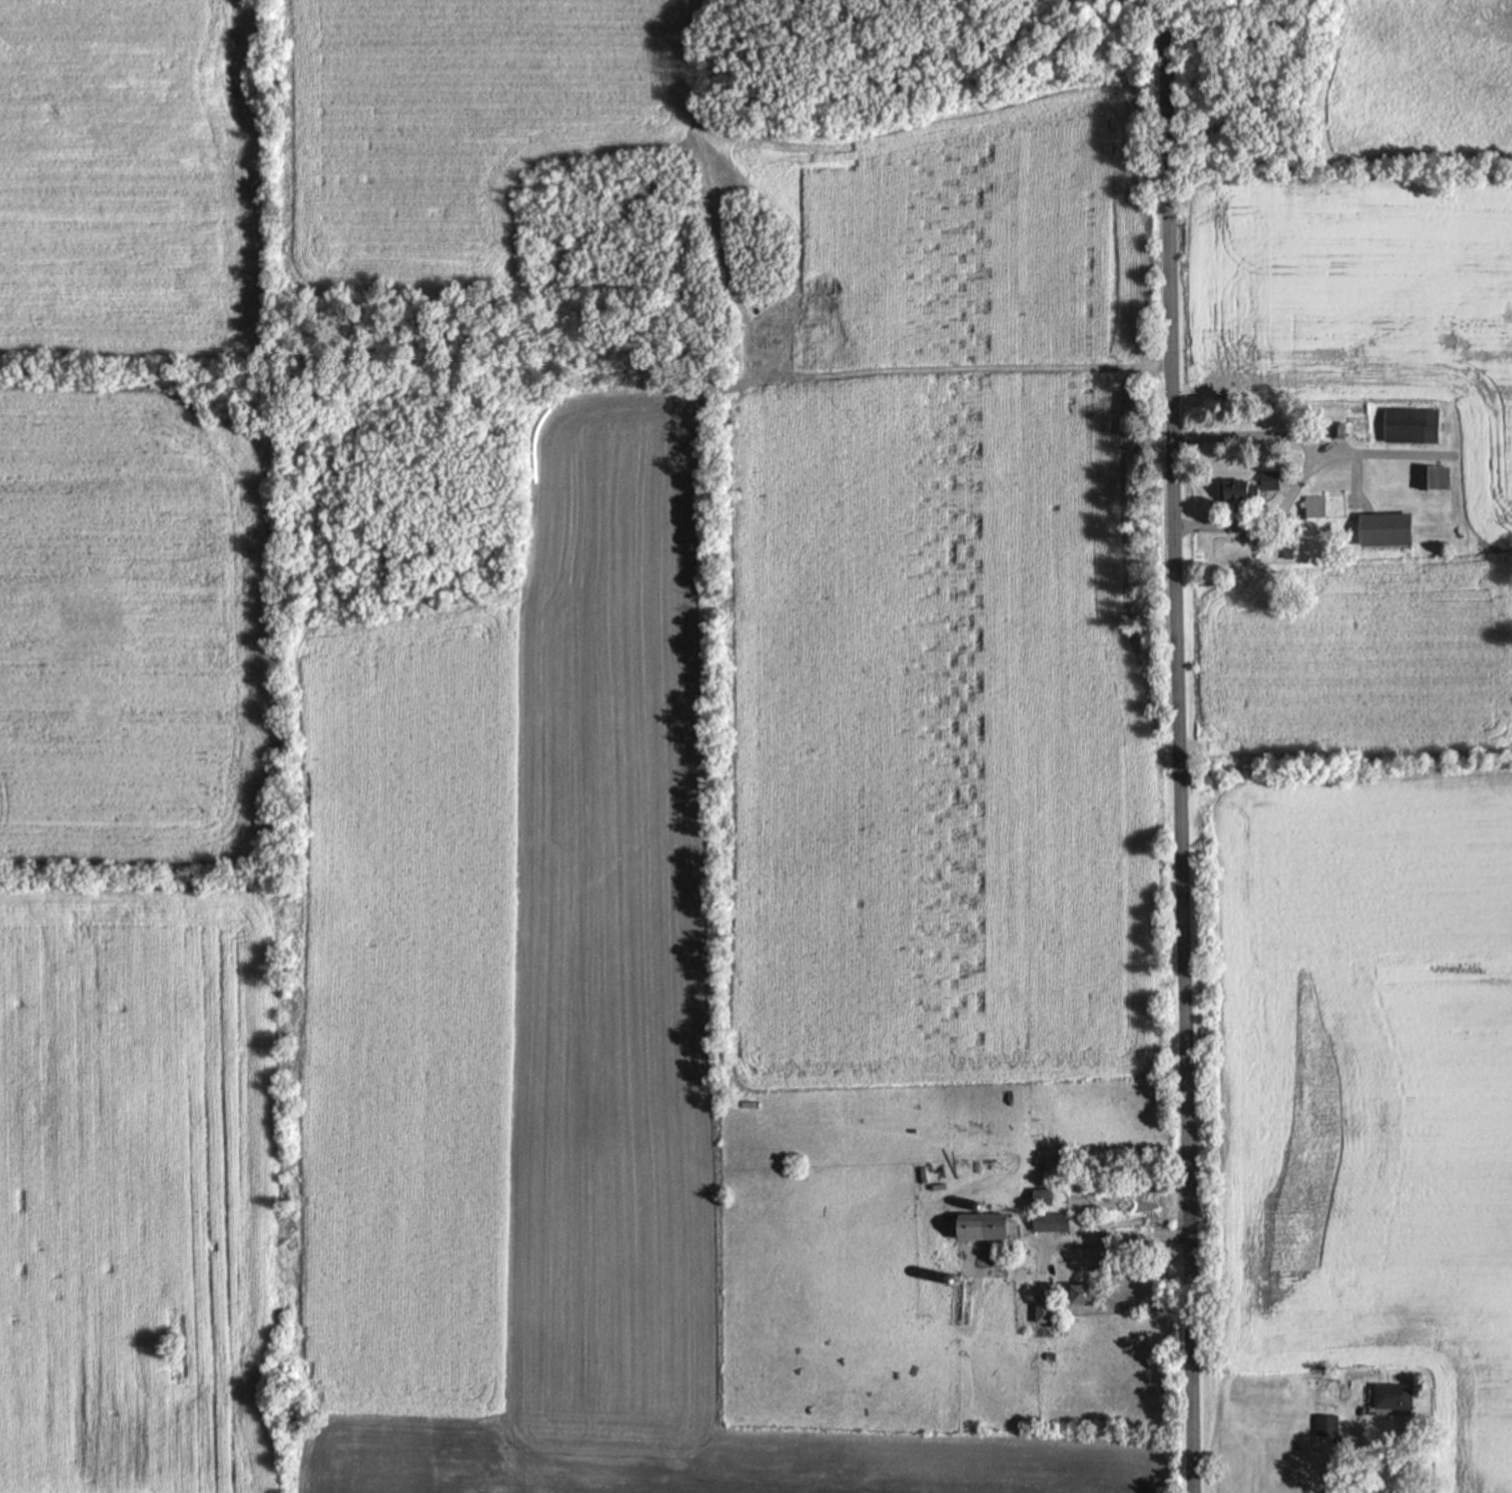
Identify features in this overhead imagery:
road: (1245, 95)
building: (1410, 426)
building: (1335, 430)
road: (1310, 444)
building: (1431, 478)
road: (1354, 479)
building: (1246, 487)
building: (1299, 512)
road: (1265, 522)
building: (1383, 530)
building: (1285, 554)
road: (1178, 746)
building: (1040, 1197)
building: (1049, 1221)
building: (980, 1225)
road: (1098, 1241)
building: (1079, 1293)
building: (1043, 1312)
building: (1390, 1396)
building: (1324, 1426)
road: (1359, 1449)

